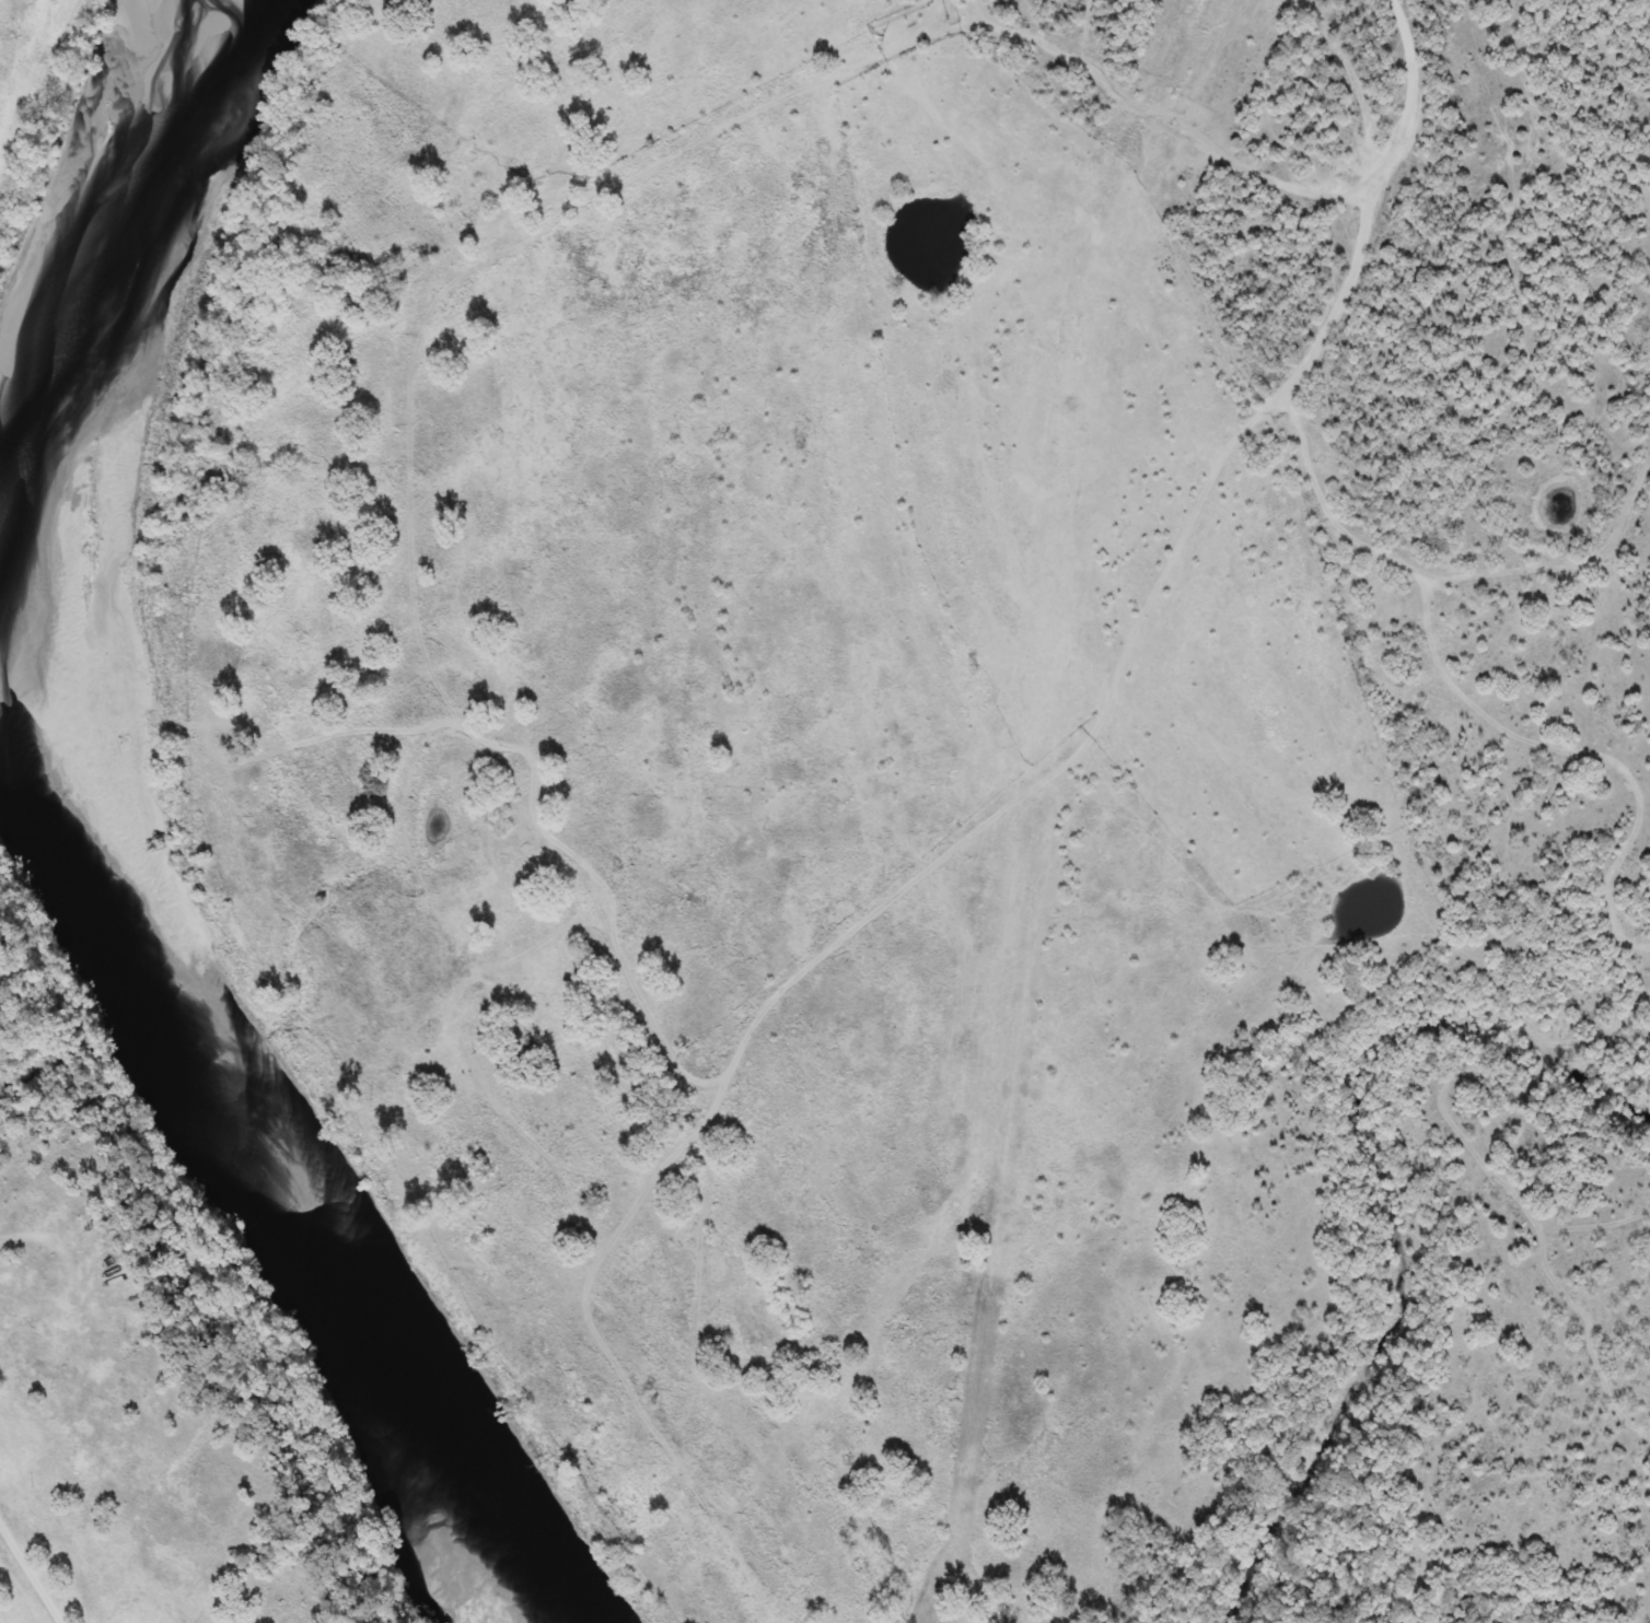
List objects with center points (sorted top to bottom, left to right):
river: (93, 267)
river: (286, 1205)
building: (67, 1273)
road: (28, 1574)
river: (549, 1590)

